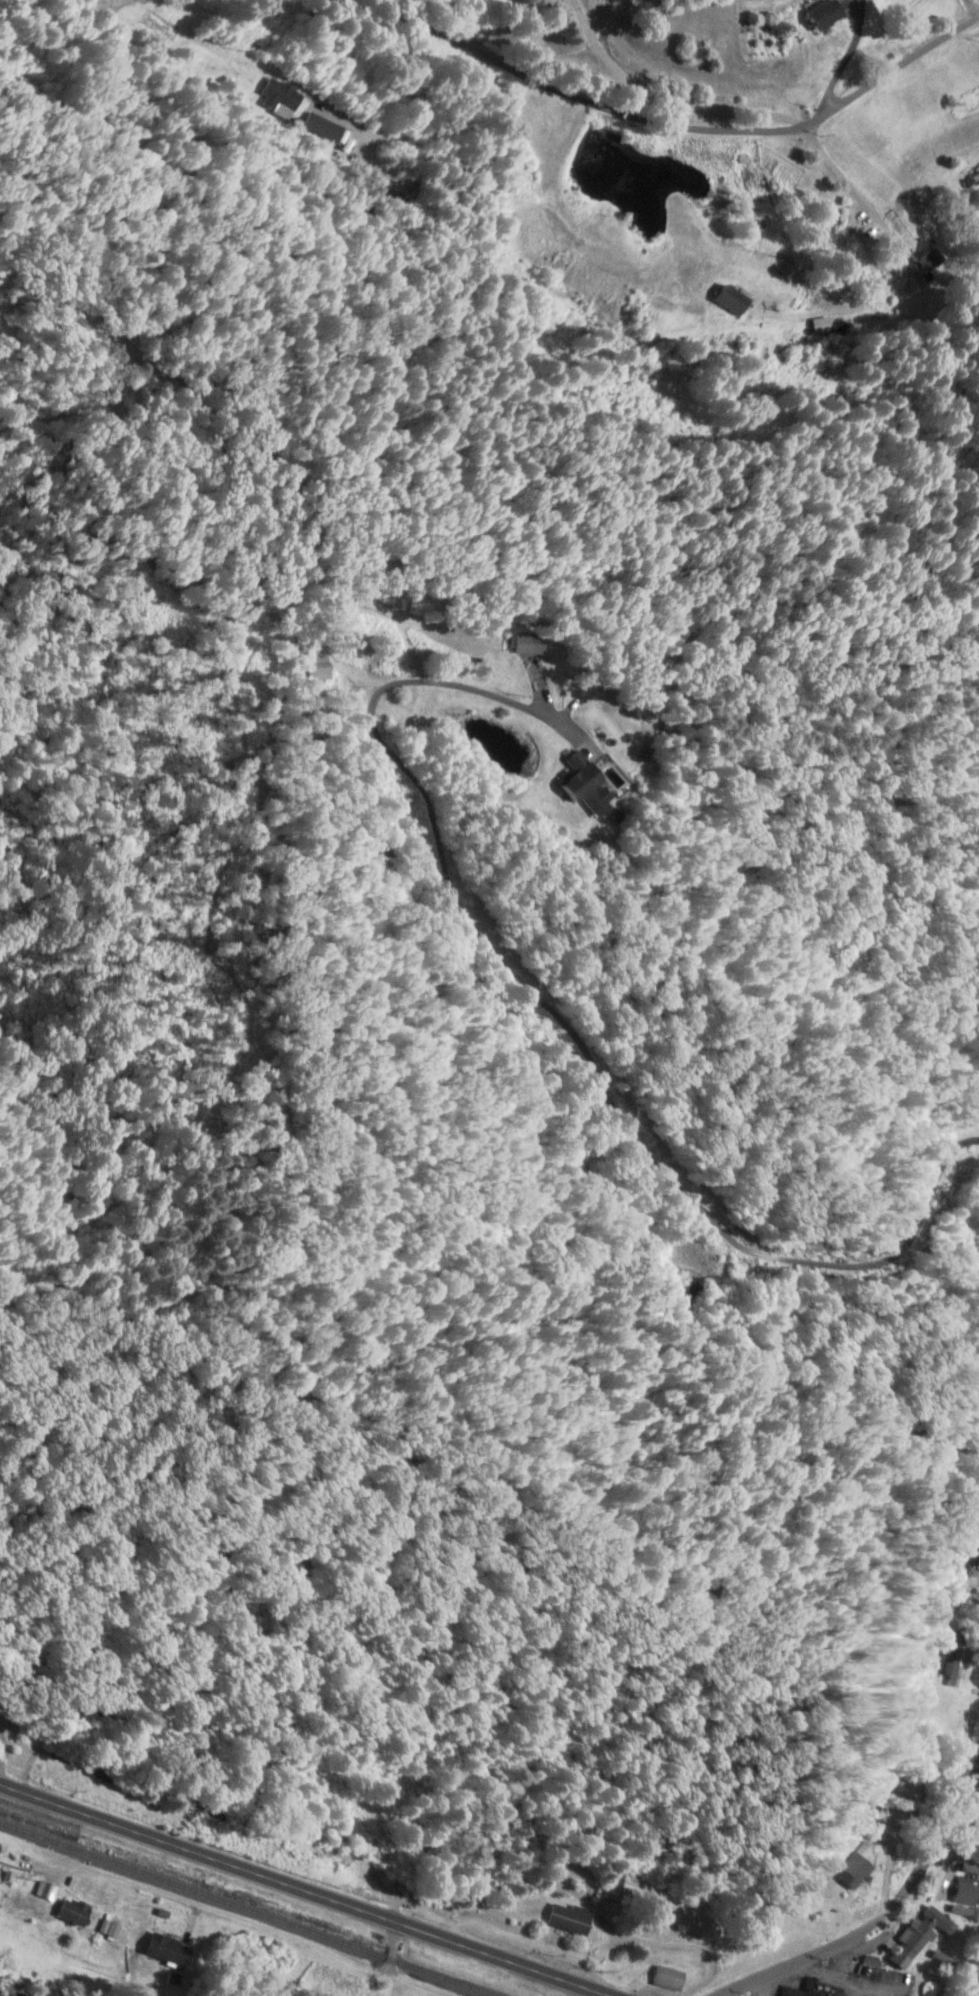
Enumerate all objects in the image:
building: (830, 13)
road: (682, 76)
building: (280, 95)
building: (324, 127)
building: (975, 178)
road: (889, 257)
building: (735, 299)
road: (935, 570)
building: (528, 643)
building: (322, 667)
building: (593, 789)
building: (957, 1664)
building: (104, 1771)
building: (341, 1853)
building: (407, 1887)
building: (48, 1889)
road: (307, 1890)
building: (967, 1892)
railway: (251, 1909)
building: (77, 1910)
road: (884, 1912)
building: (573, 1918)
road: (263, 1922)
building: (111, 1927)
building: (924, 1934)
road: (396, 1944)
building: (169, 1947)
building: (672, 1976)
building: (815, 1988)
river: (0, 1995)

